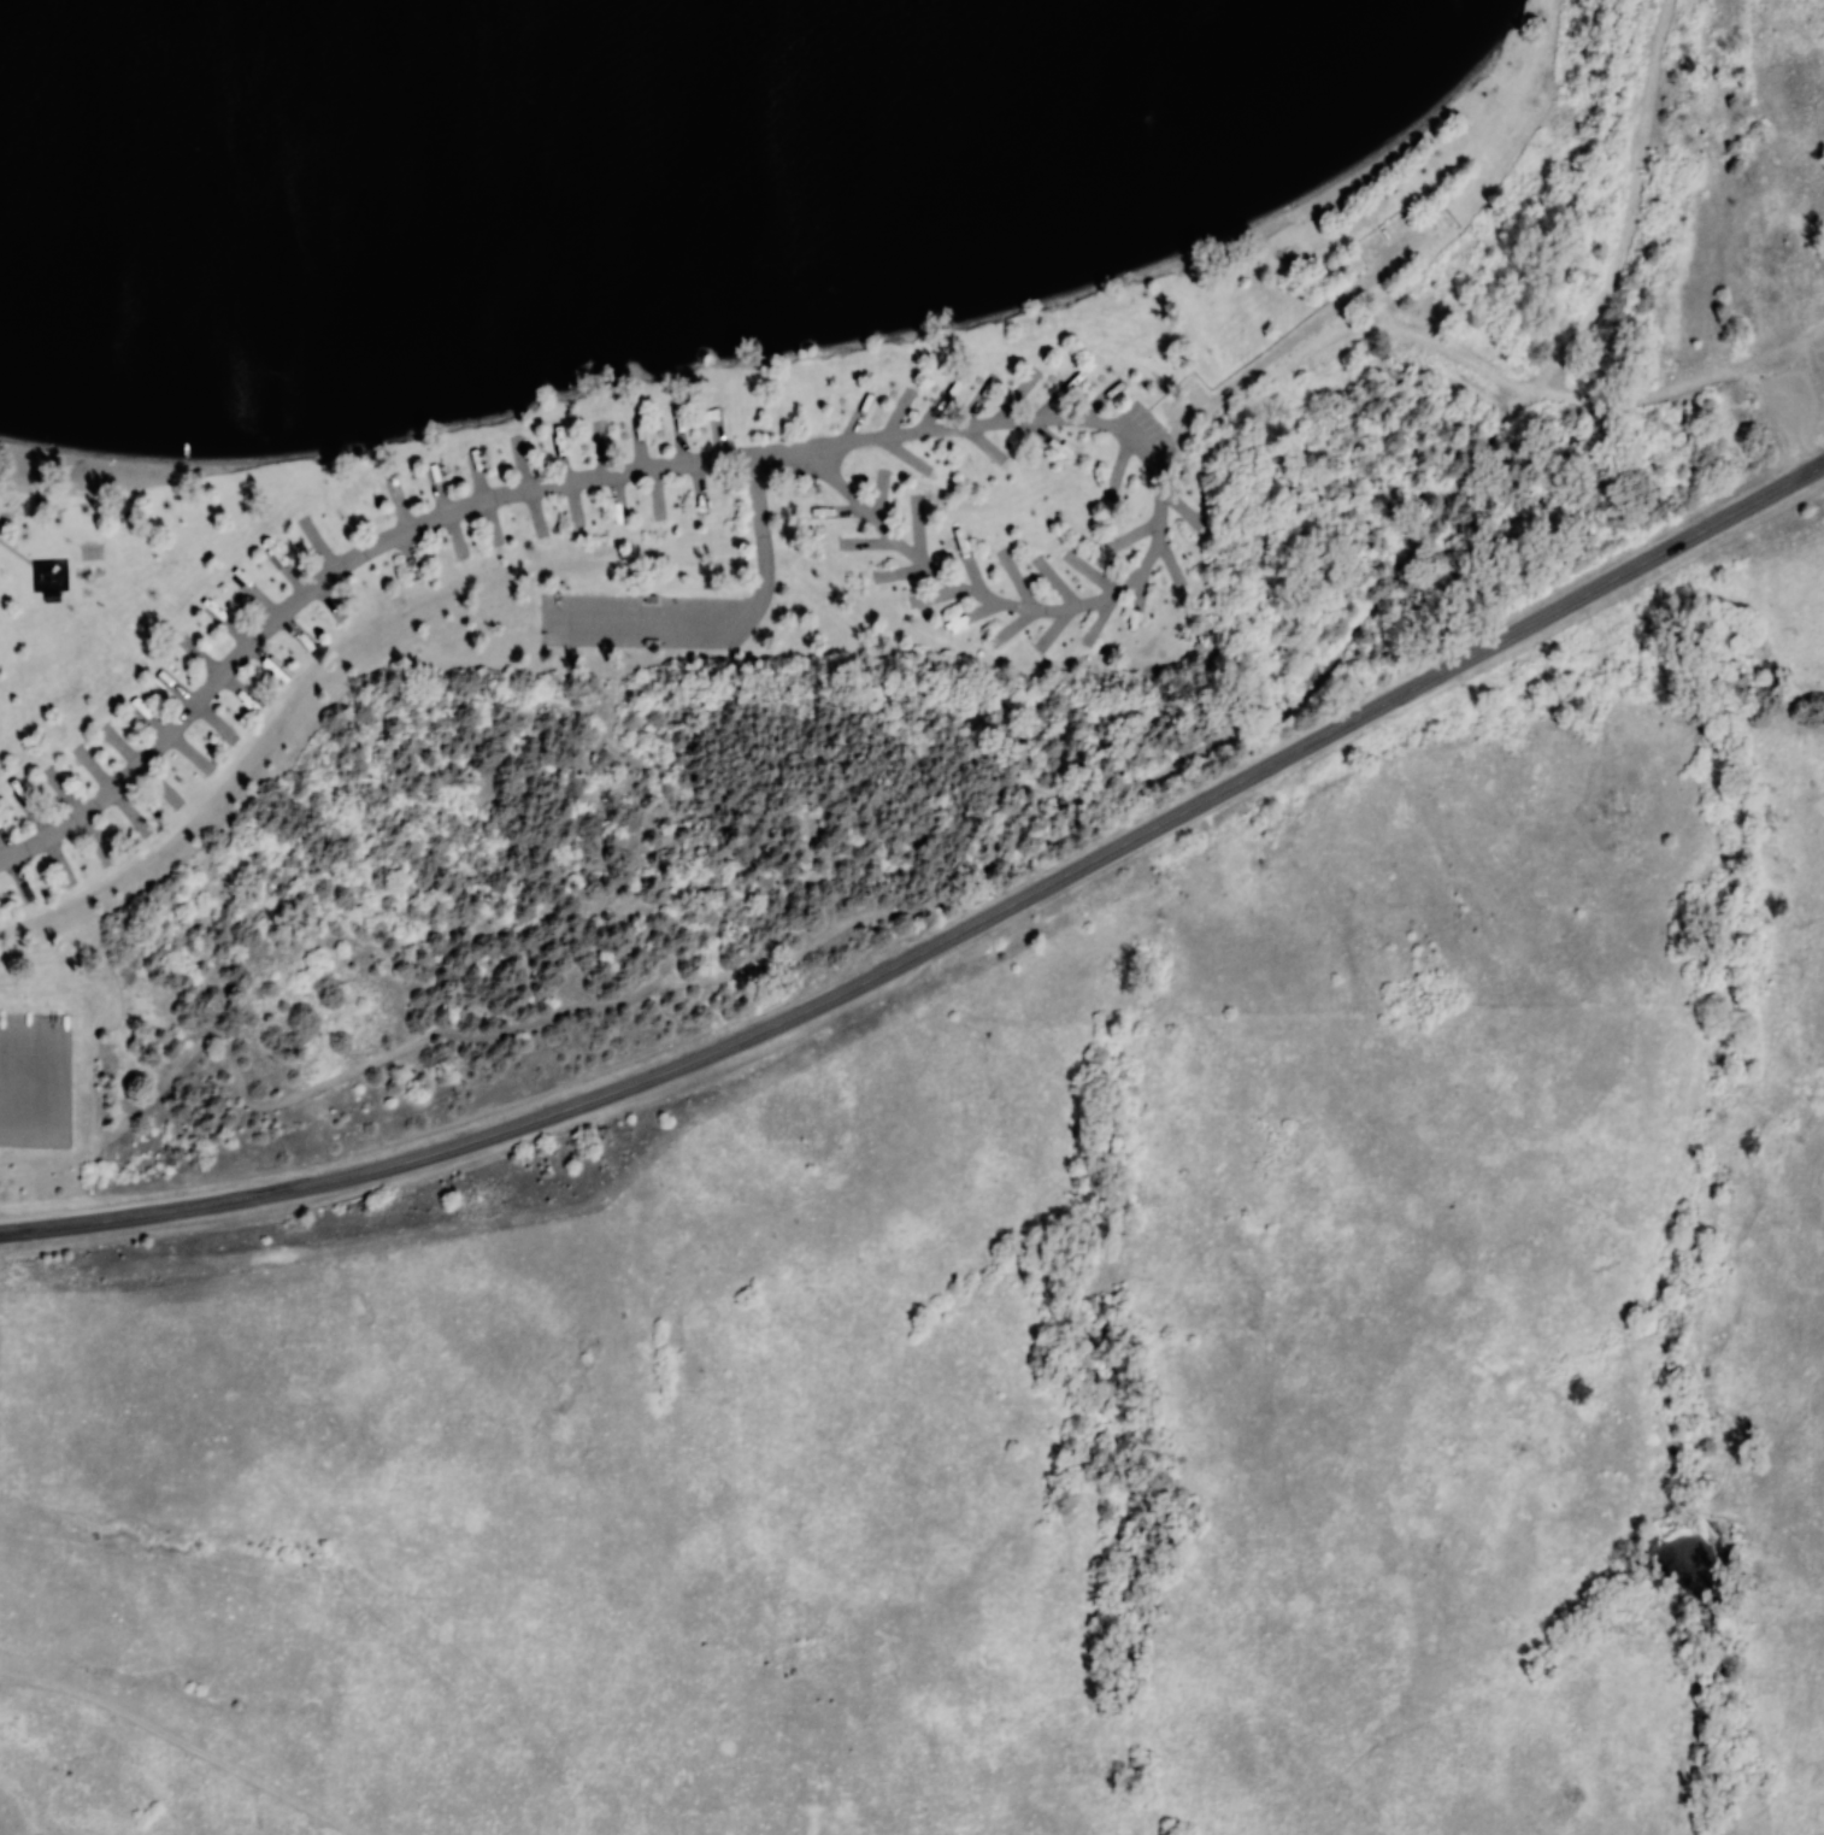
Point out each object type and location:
road: (1626, 212)
road: (1324, 320)
parking lot: (1791, 402)
road: (1808, 455)
park: (776, 489)
road: (1157, 537)
road: (354, 557)
parking lot: (647, 619)
road: (724, 623)
road: (961, 855)
road: (946, 936)
parking lot: (33, 1078)

